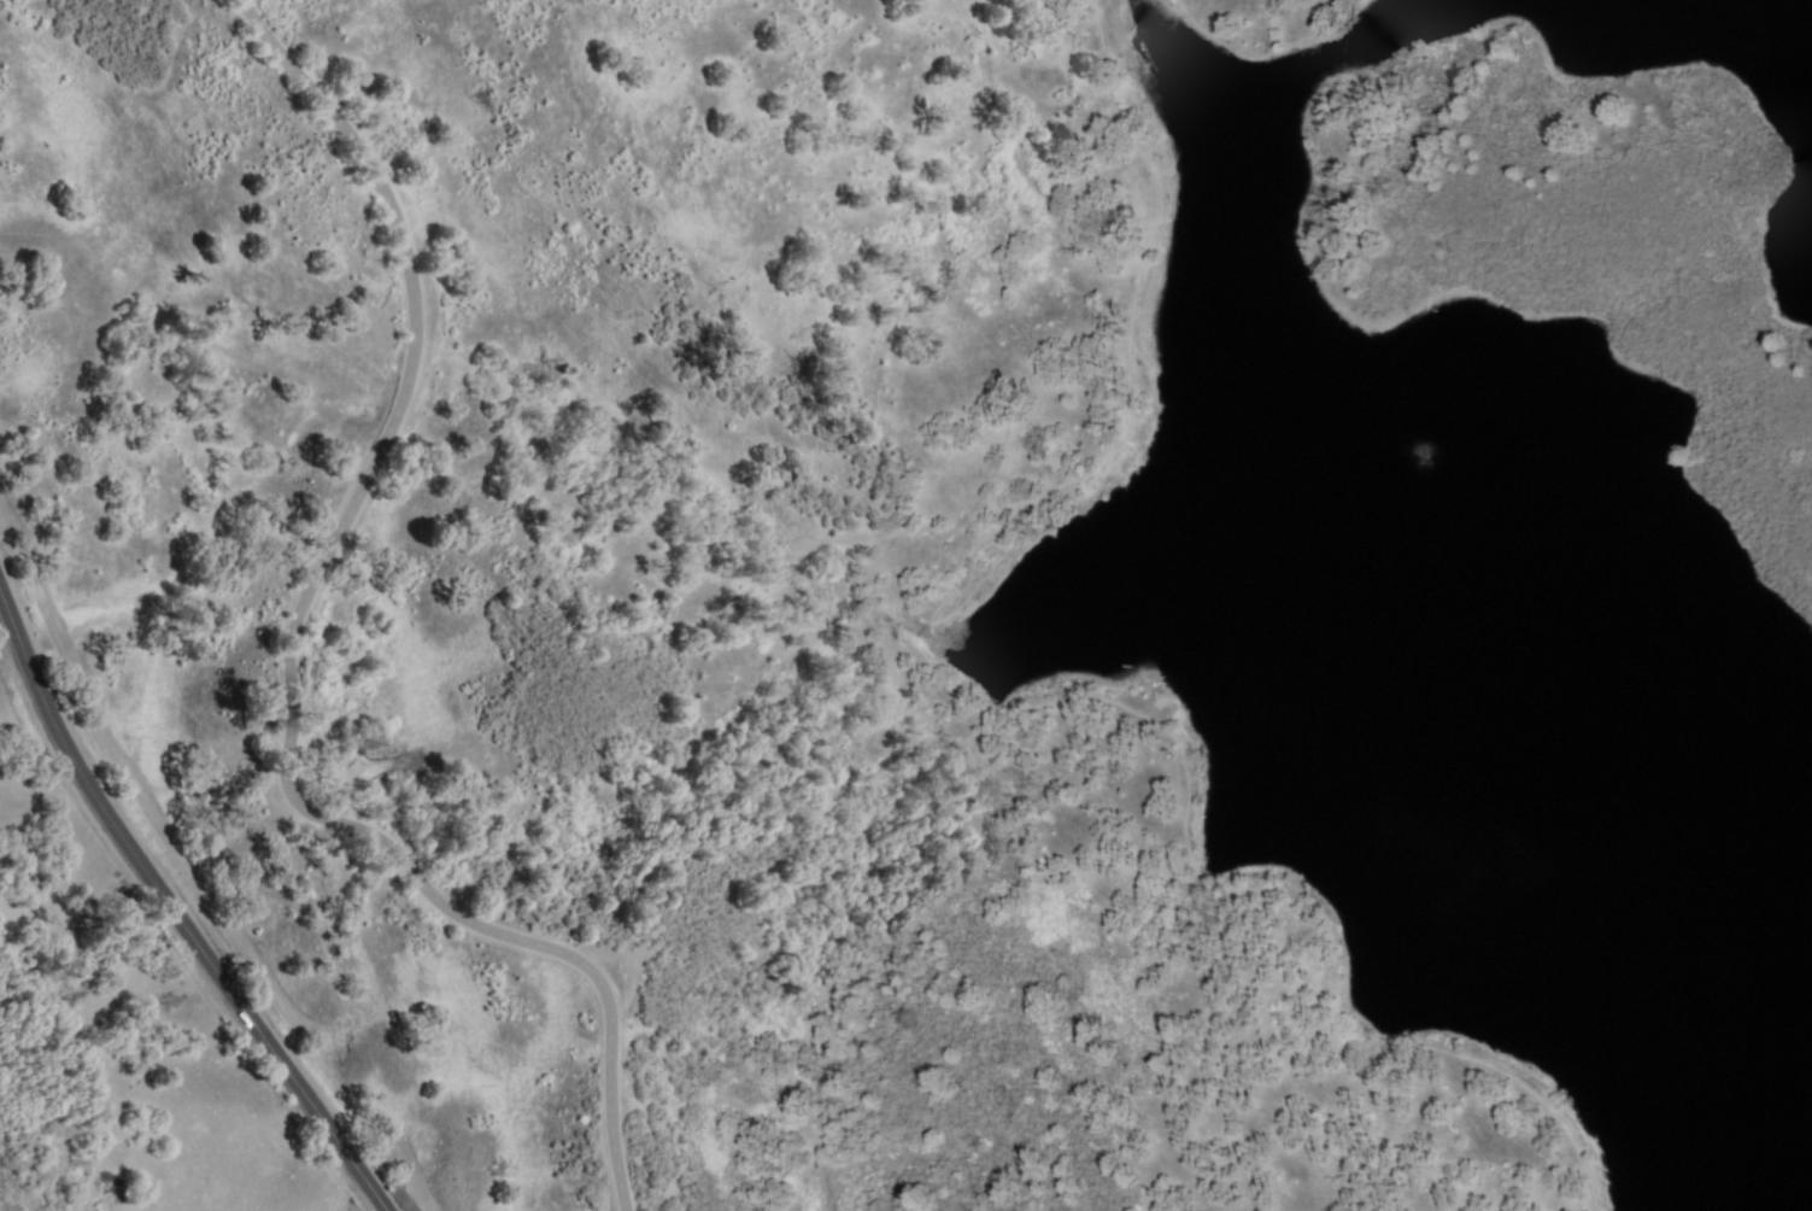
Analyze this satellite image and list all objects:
road: (177, 909)

